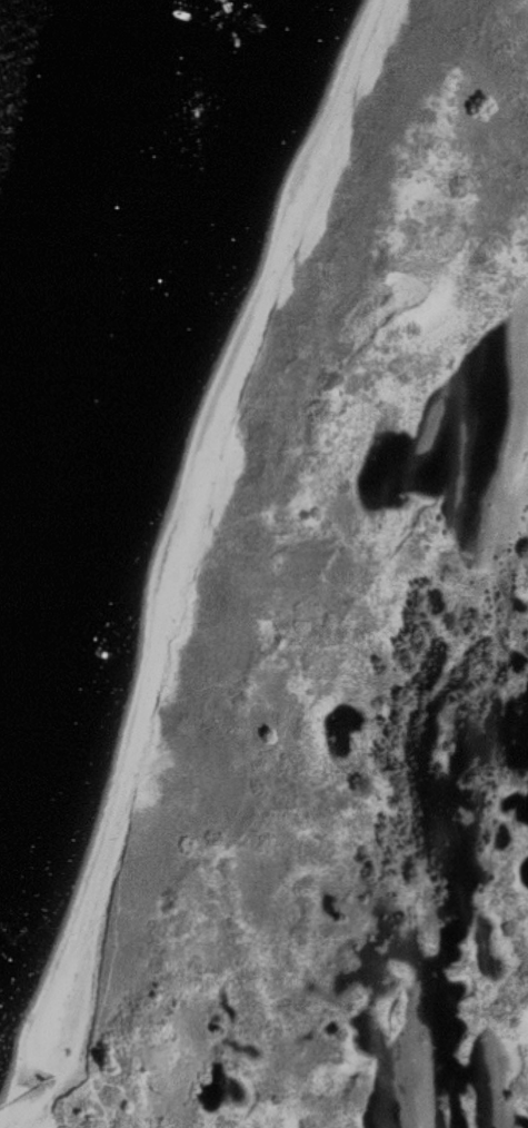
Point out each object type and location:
park: (288, 612)

